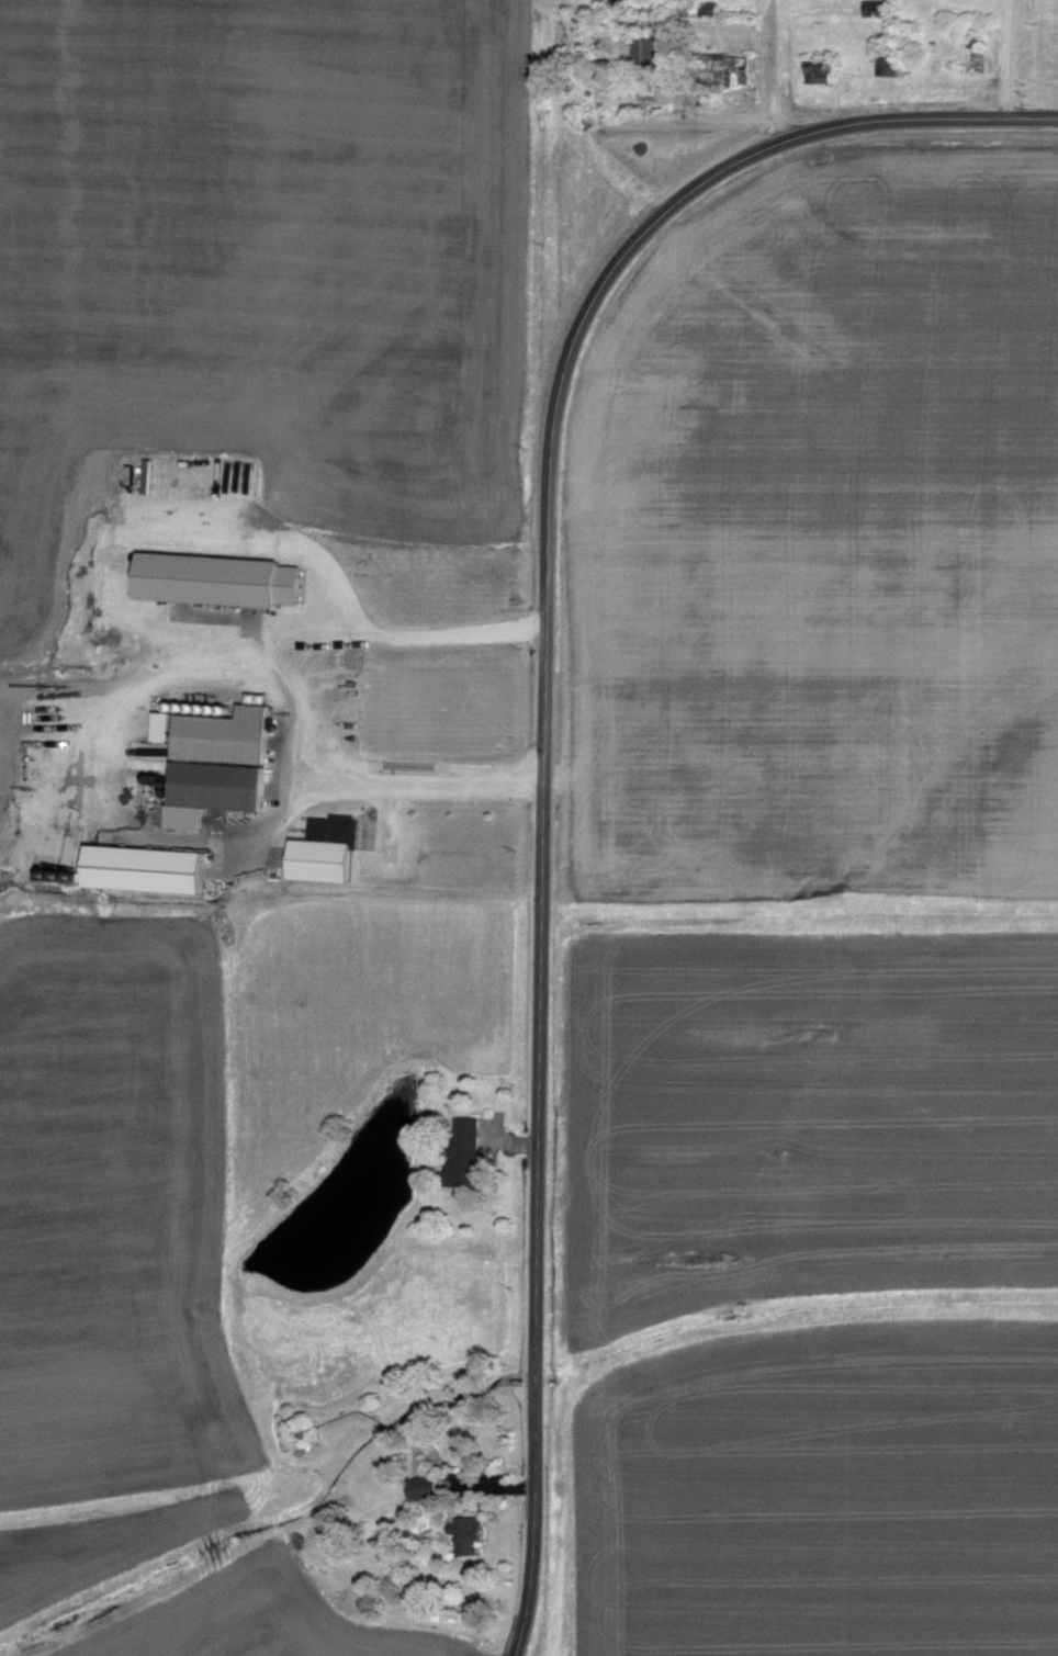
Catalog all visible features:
building: (645, 48)
road: (1010, 60)
building: (823, 70)
building: (724, 71)
road: (774, 71)
building: (221, 579)
road: (272, 677)
road: (542, 710)
building: (220, 761)
building: (329, 850)
building: (150, 869)
building: (468, 1152)
building: (424, 1487)
building: (470, 1534)

